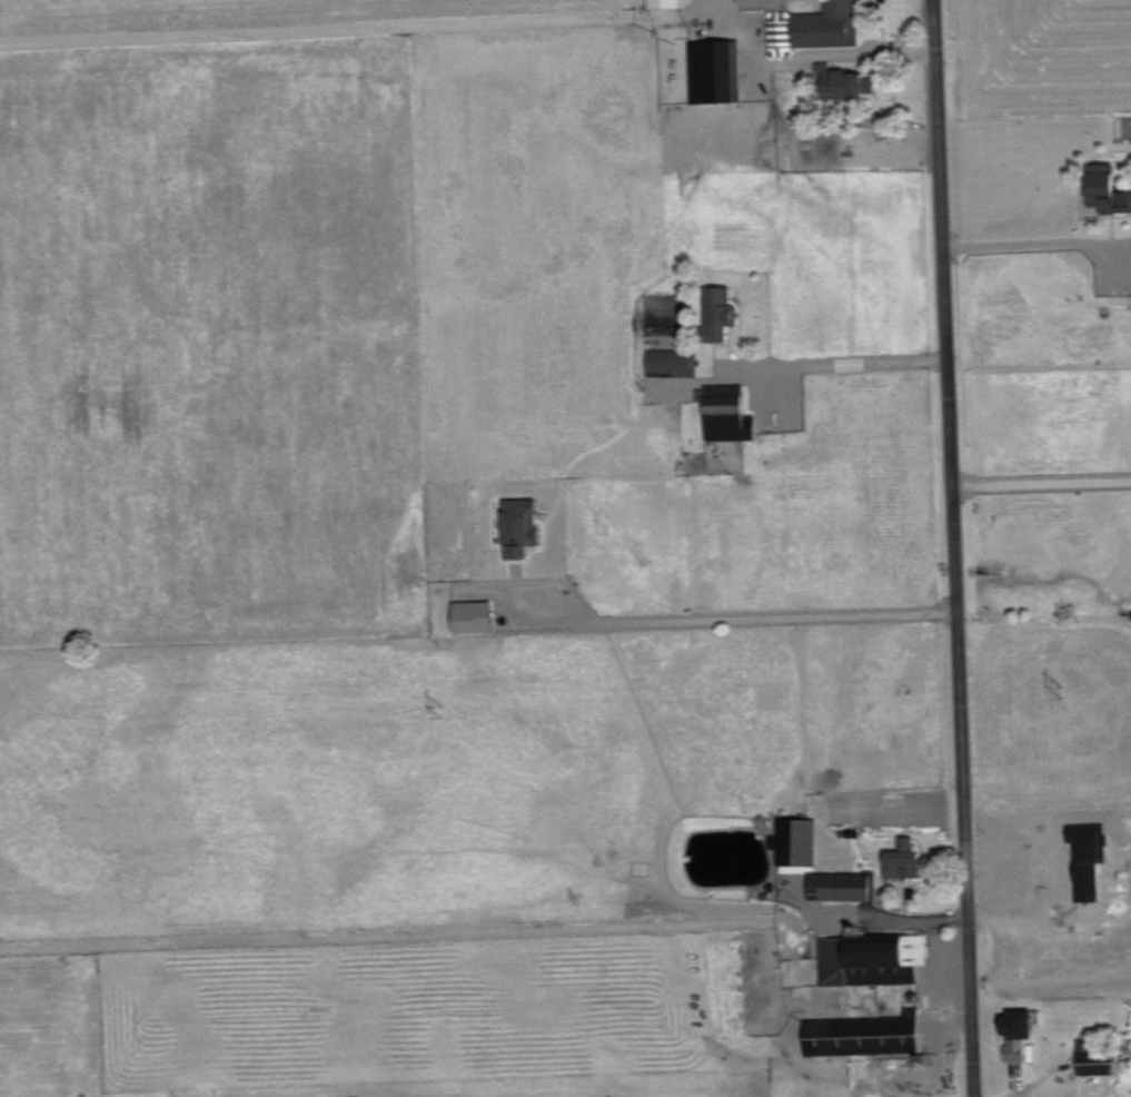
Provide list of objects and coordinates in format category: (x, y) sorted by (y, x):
building: (665, 3)
building: (762, 3)
building: (829, 24)
building: (721, 51)
building: (850, 82)
building: (1108, 188)
road: (1026, 240)
building: (721, 310)
building: (674, 362)
road: (840, 362)
road: (1043, 480)
building: (523, 525)
road: (959, 547)
road: (753, 615)
building: (475, 616)
power tower: (1064, 686)
power tower: (440, 708)
building: (797, 841)
building: (905, 860)
building: (844, 887)
road: (912, 918)
building: (871, 958)
building: (1019, 1032)
building: (866, 1035)
building: (1097, 1058)

